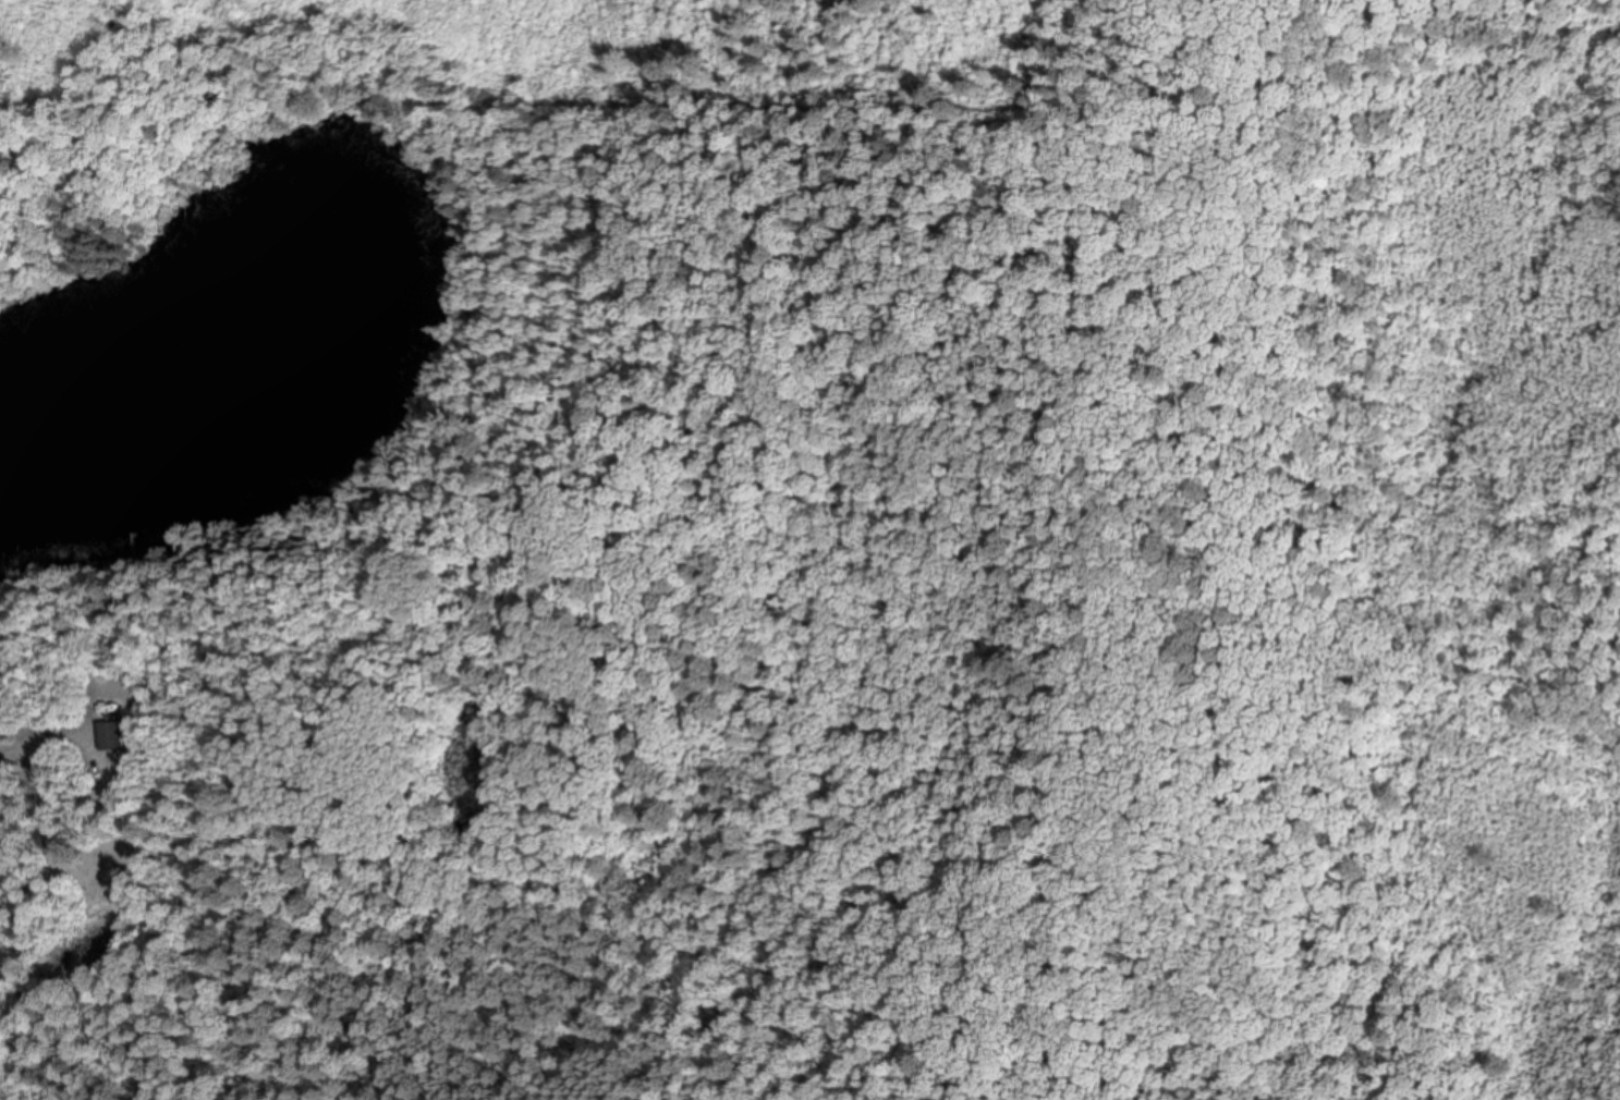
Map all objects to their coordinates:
building: (127, 734)
road: (39, 756)

